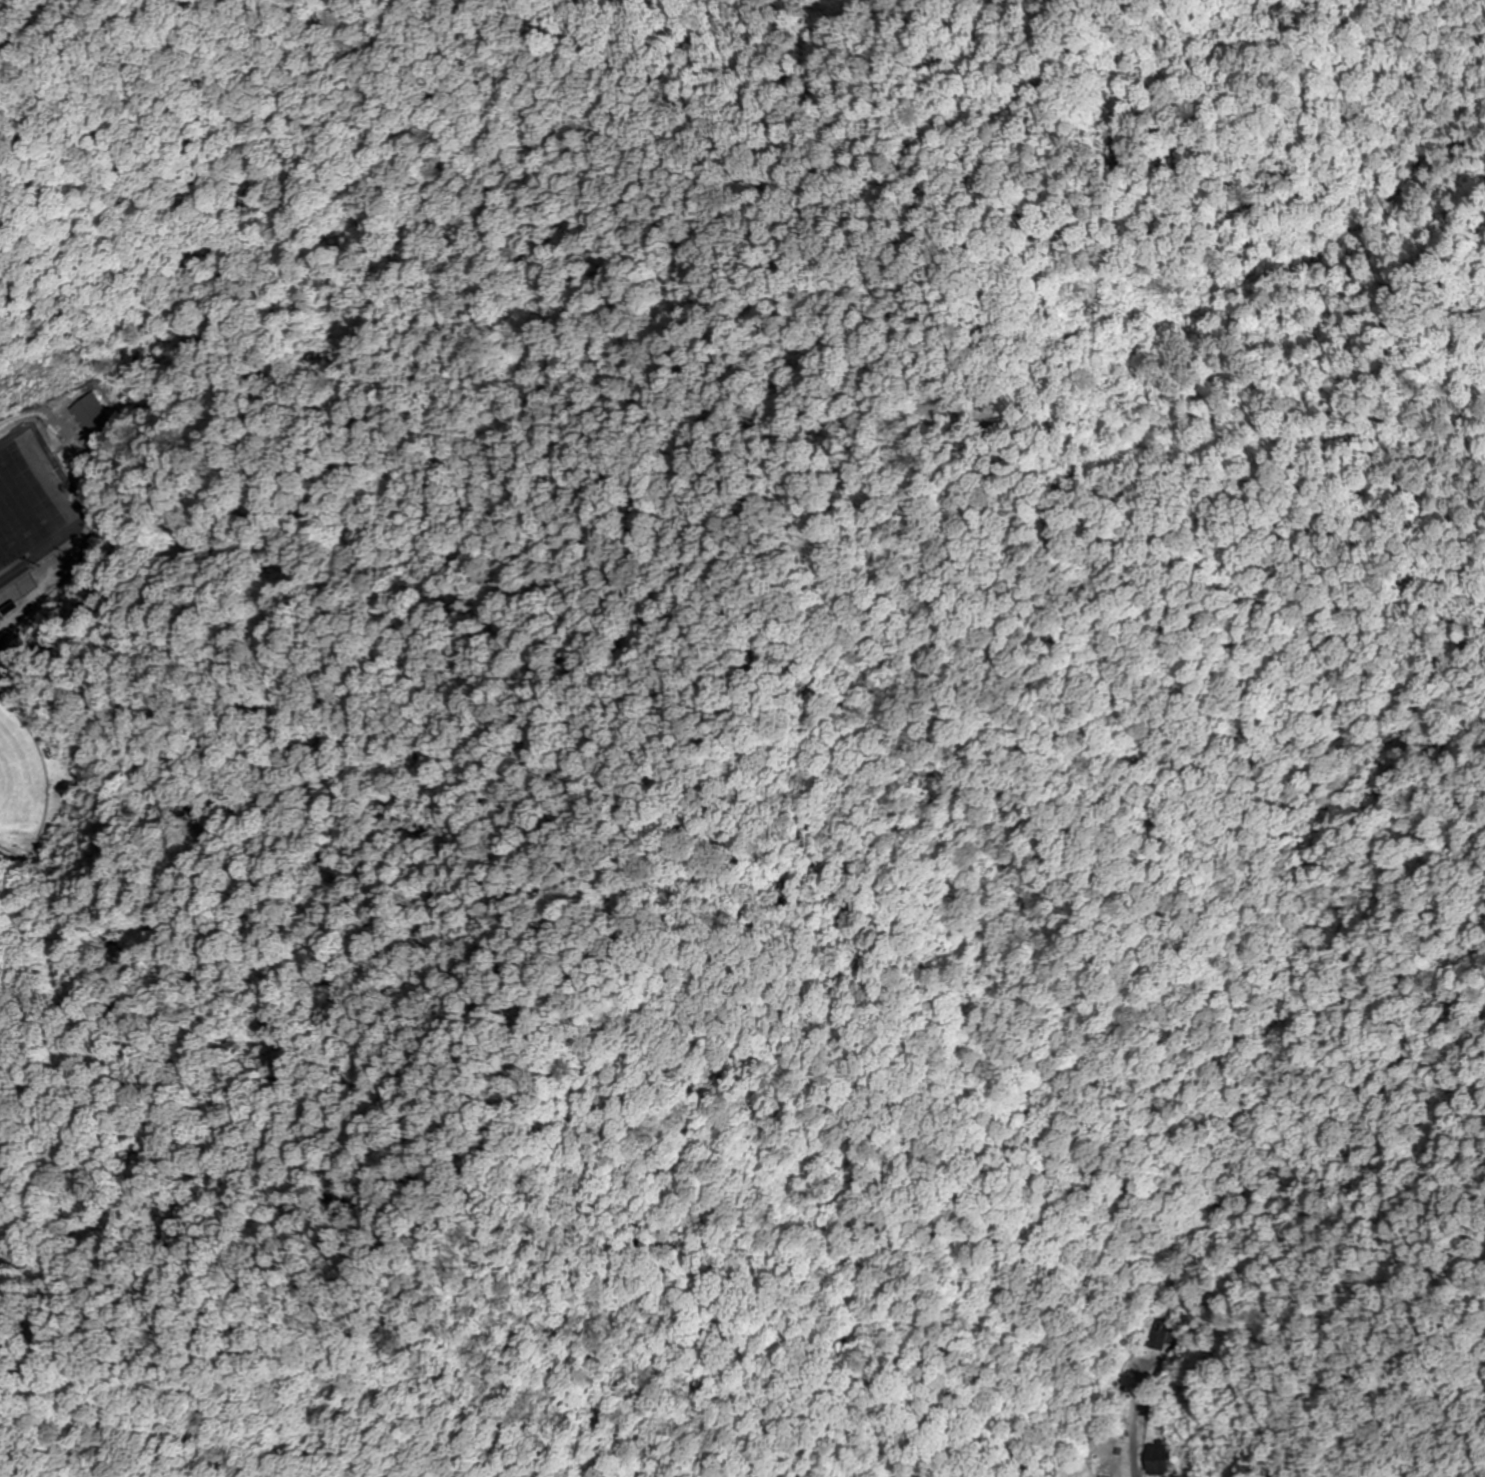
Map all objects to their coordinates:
building: (90, 416)
park: (28, 501)
building: (18, 592)
park: (18, 785)
building: (1158, 1335)
building: (1154, 1458)

